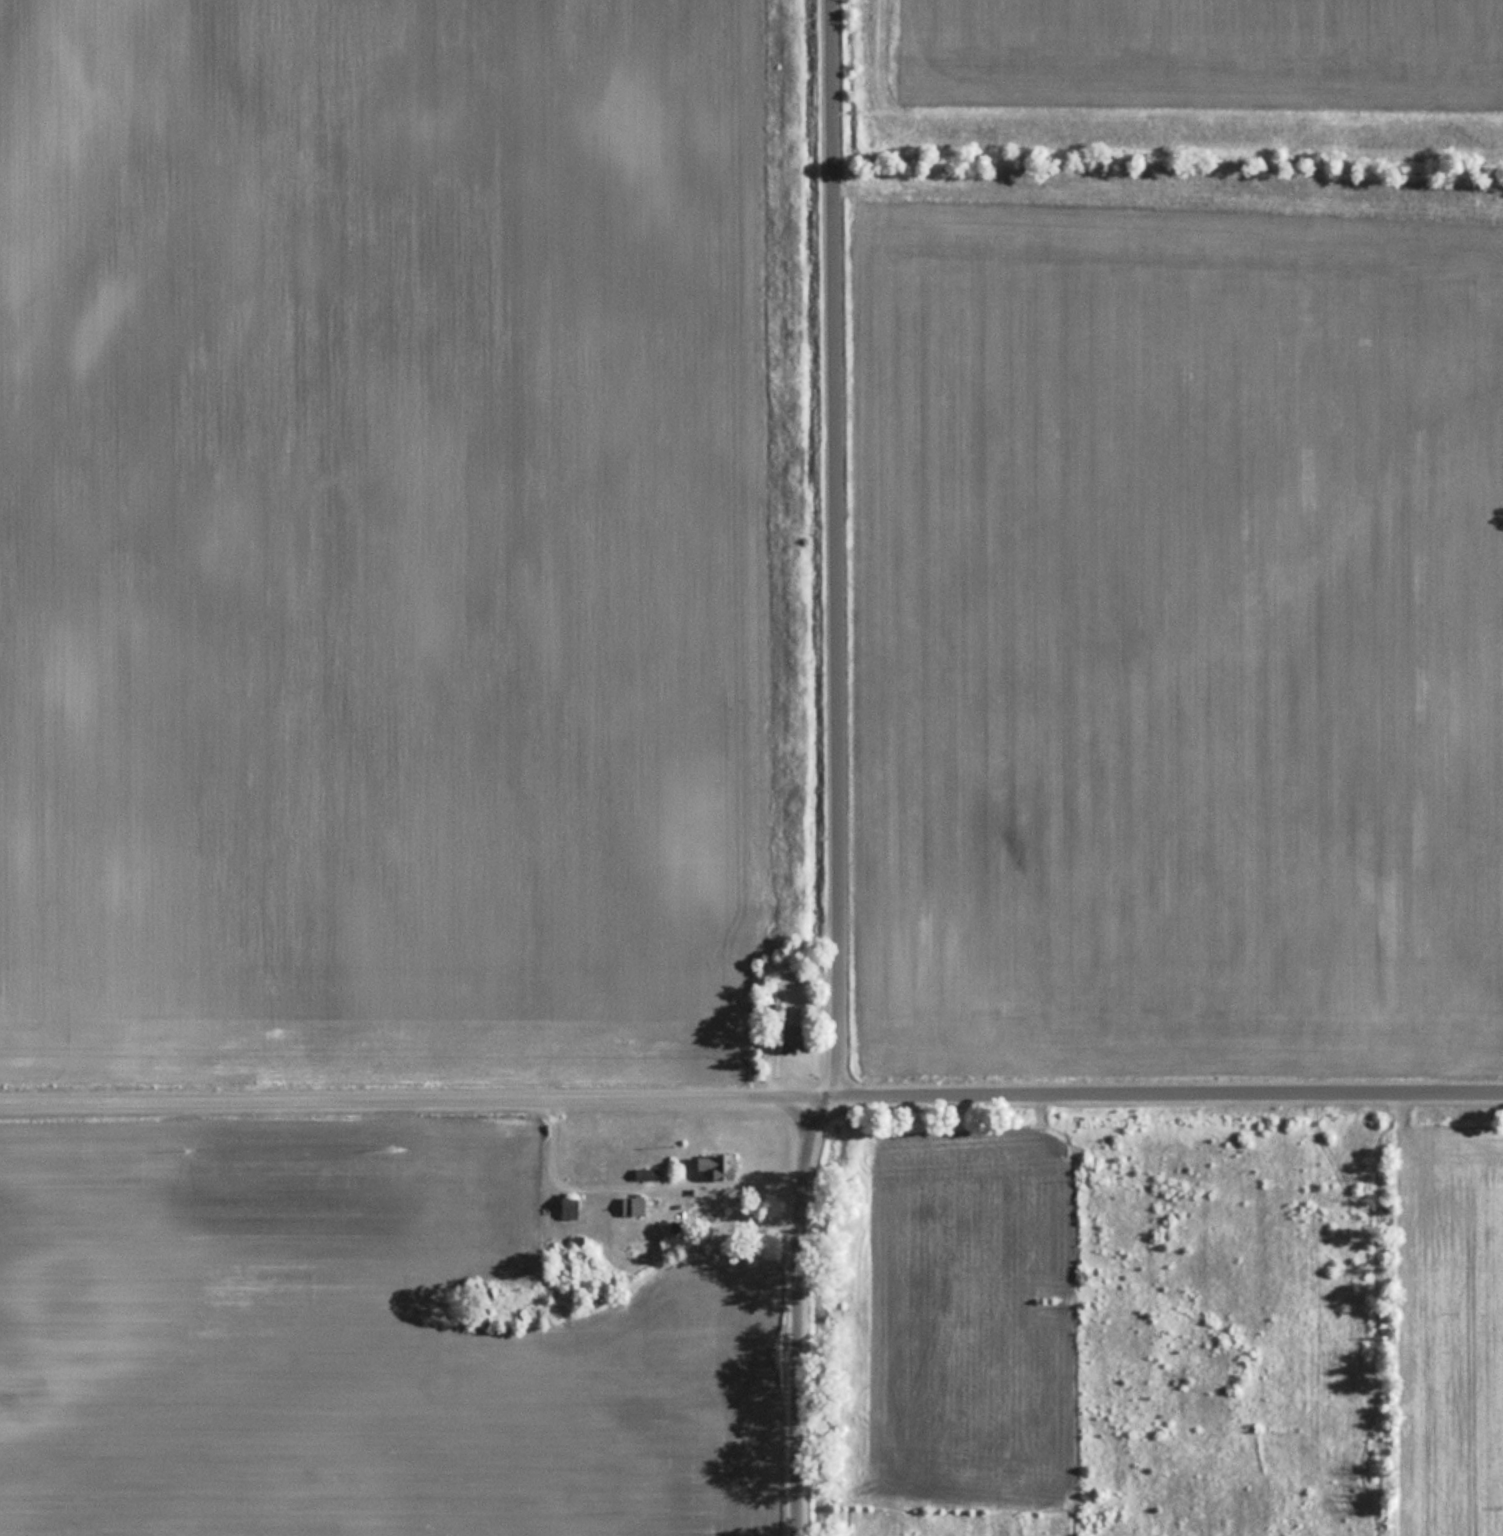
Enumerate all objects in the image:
road: (836, 773)
building: (792, 1036)
road: (751, 1098)
building: (717, 1163)
building: (647, 1173)
building: (634, 1204)
building: (570, 1207)
building: (481, 1319)

